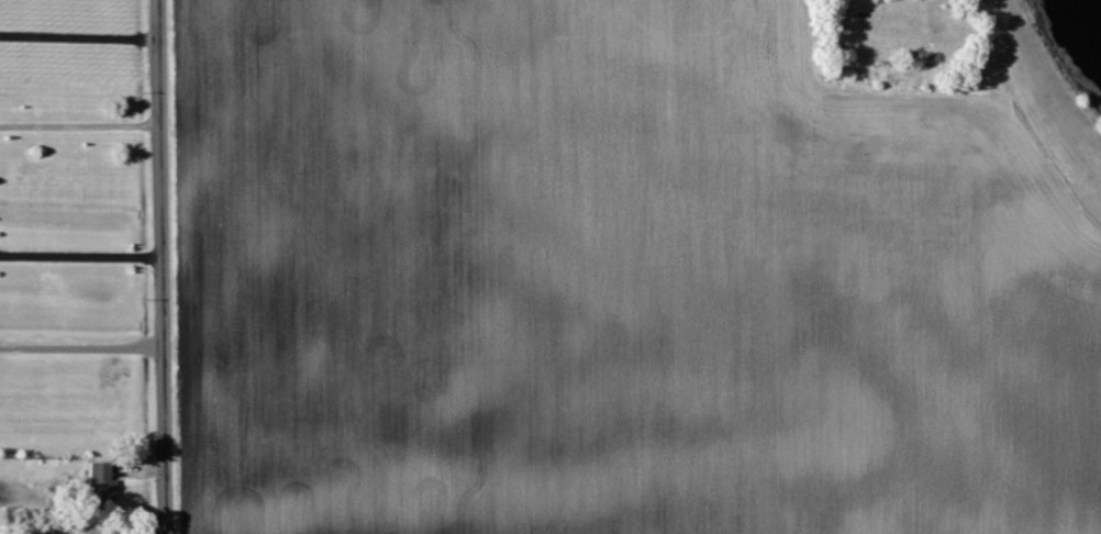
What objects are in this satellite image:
road: (79, 37)
road: (79, 126)
road: (80, 257)
road: (162, 267)
road: (81, 348)
building: (104, 481)

